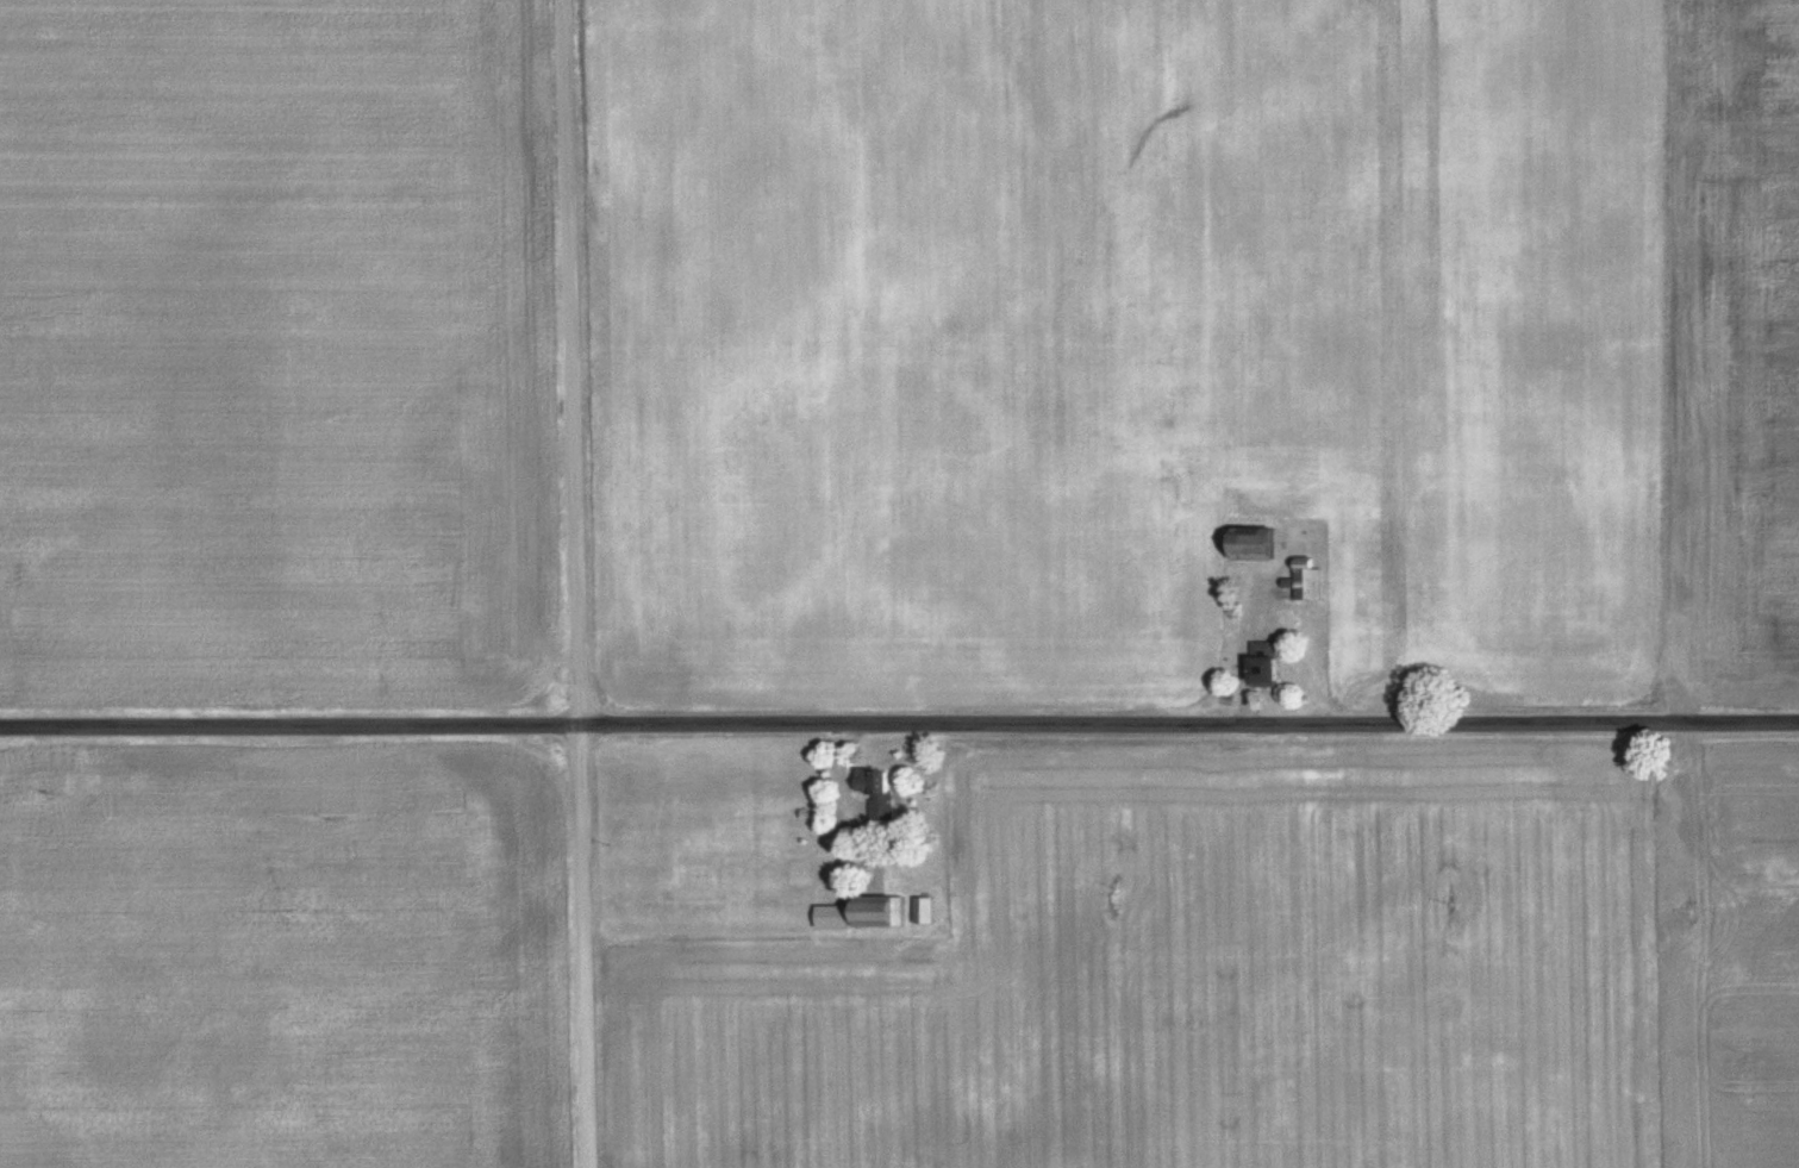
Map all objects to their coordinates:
crop: (1124, 341)
crop: (1728, 346)
crop: (274, 348)
building: (1258, 548)
road: (580, 583)
building: (1268, 670)
road: (899, 726)
building: (876, 795)
building: (923, 911)
building: (832, 917)
crop: (281, 960)
crop: (1272, 976)

